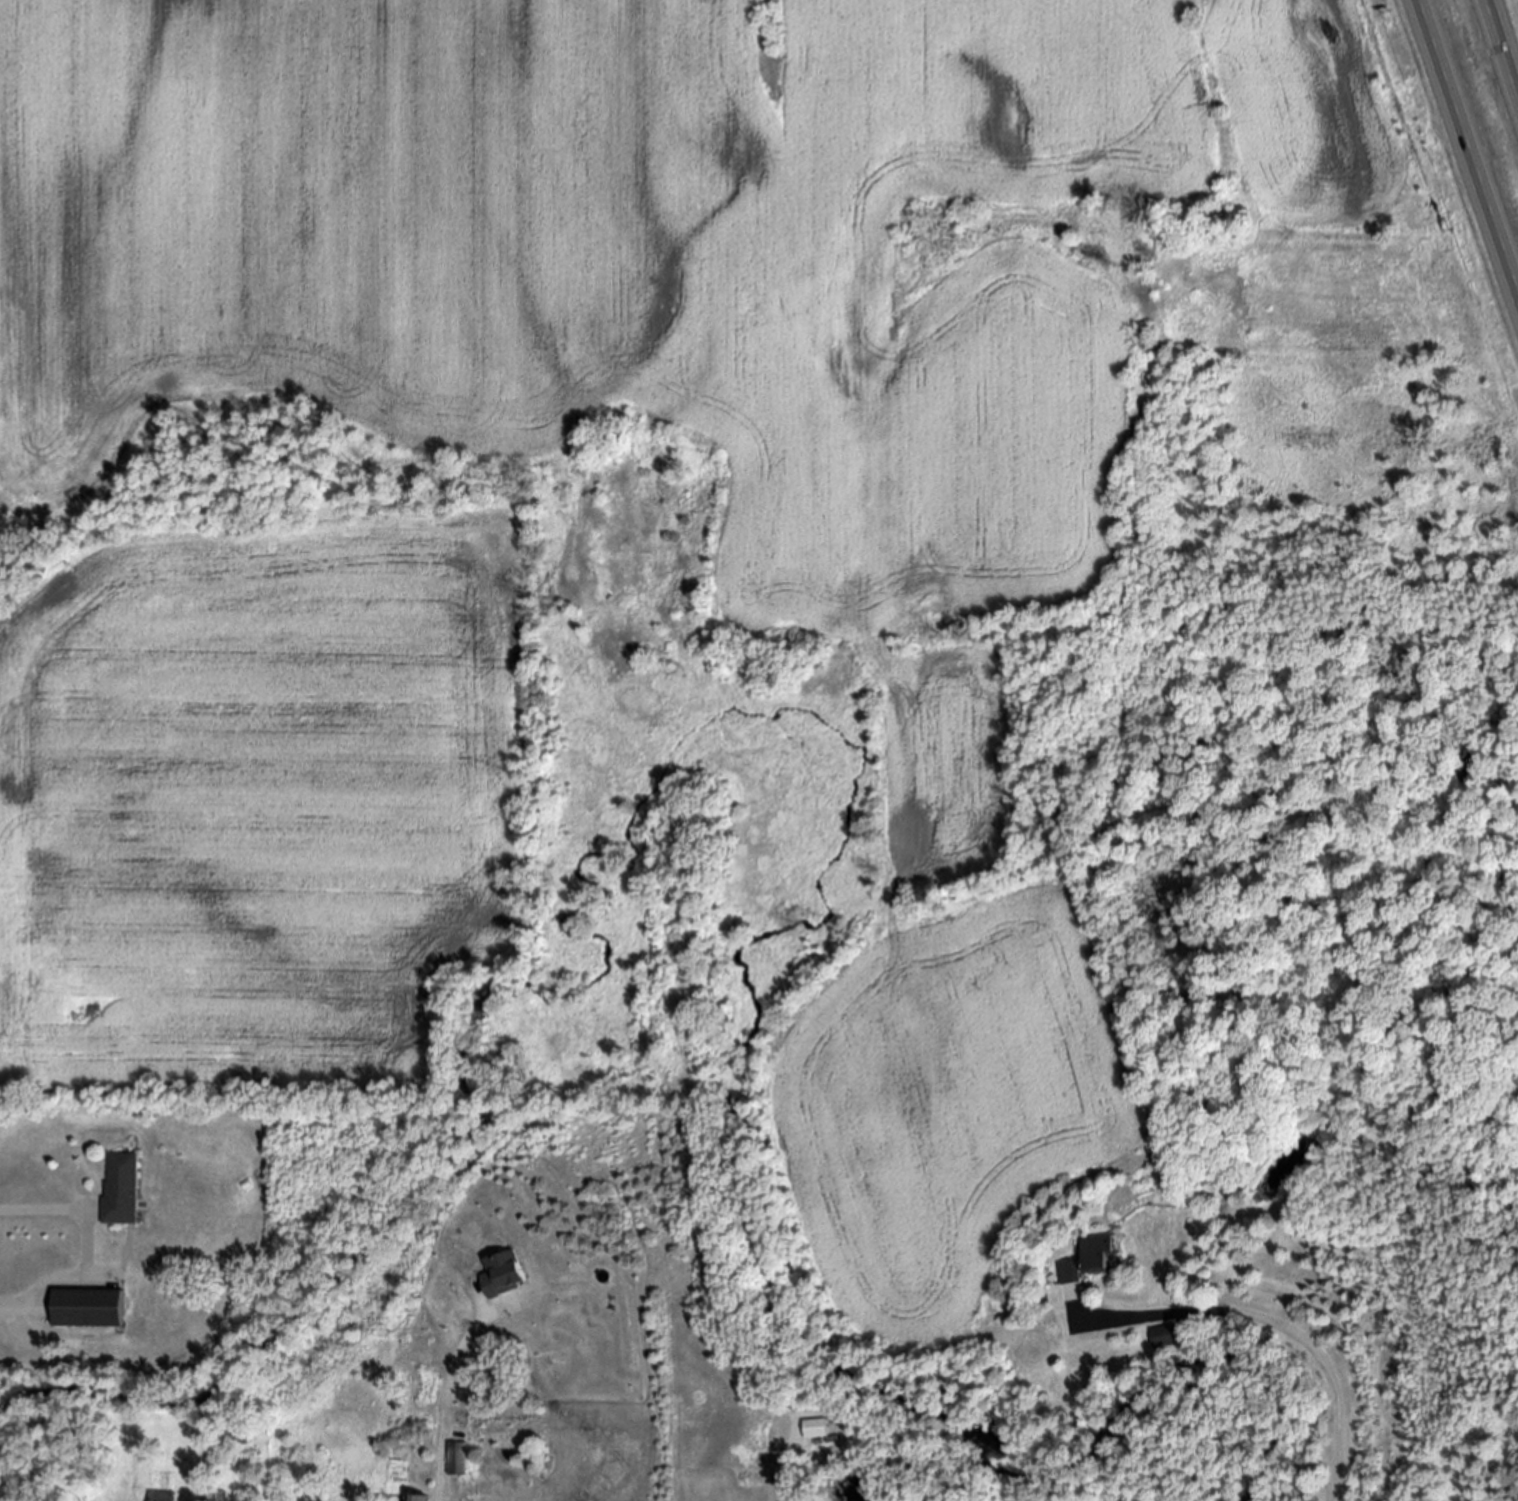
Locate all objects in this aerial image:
road: (1506, 34)
road: (1472, 132)
building: (121, 1189)
road: (87, 1249)
building: (1082, 1265)
building: (504, 1272)
building: (86, 1309)
road: (1288, 1323)
building: (1163, 1337)
road: (444, 1406)
building: (816, 1430)
building: (457, 1460)
road: (788, 1462)
building: (492, 1490)
building: (158, 1496)
building: (222, 1497)
building: (415, 1499)

